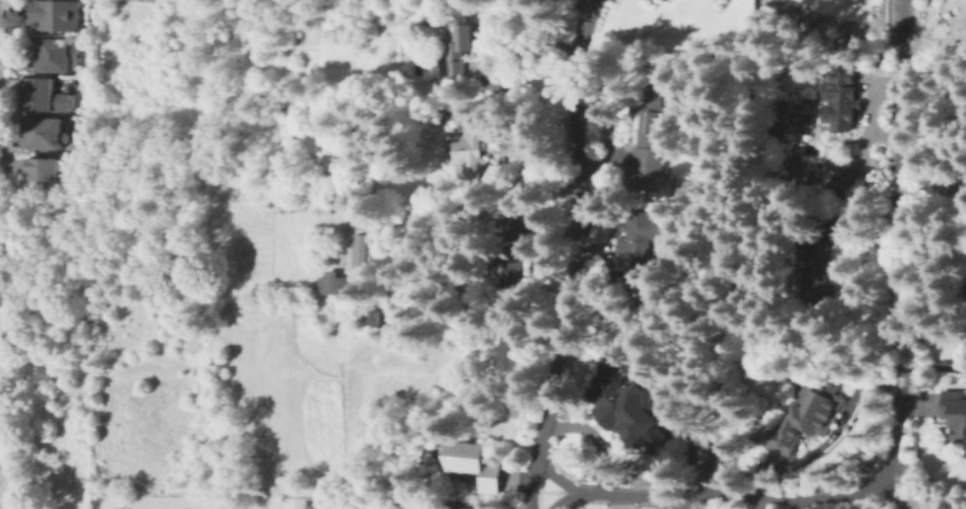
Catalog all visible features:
building: (671, 1)
building: (55, 16)
building: (462, 49)
building: (54, 56)
building: (652, 88)
building: (845, 96)
building: (43, 97)
building: (778, 107)
building: (44, 134)
building: (897, 139)
building: (650, 154)
building: (473, 155)
building: (44, 175)
building: (848, 185)
park: (42, 248)
building: (518, 248)
road: (575, 254)
building: (636, 255)
building: (347, 271)
building: (819, 275)
building: (372, 317)
building: (511, 347)
road: (929, 368)
building: (634, 408)
building: (956, 417)
building: (809, 419)
road: (896, 420)
road: (23, 441)
building: (479, 468)
road: (562, 497)
building: (312, 504)
building: (451, 508)

